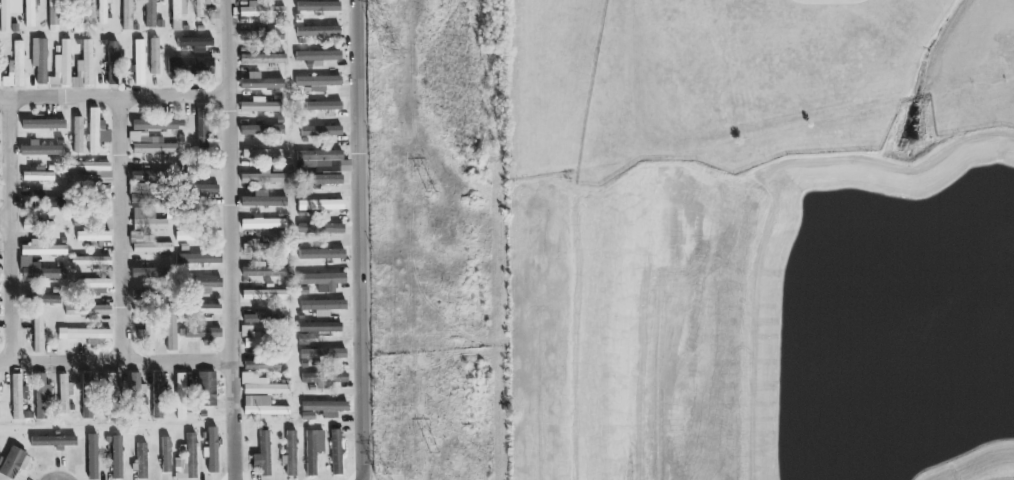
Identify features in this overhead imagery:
building: (318, 7)
building: (201, 8)
road: (829, 9)
building: (261, 10)
building: (103, 11)
building: (8, 12)
building: (30, 13)
building: (178, 13)
building: (79, 14)
building: (127, 15)
building: (53, 16)
building: (152, 16)
building: (318, 32)
building: (261, 35)
building: (196, 44)
power tower: (393, 53)
building: (154, 56)
building: (317, 57)
building: (40, 59)
building: (263, 59)
building: (139, 63)
building: (111, 64)
building: (190, 66)
building: (62, 67)
building: (15, 68)
building: (84, 68)
building: (260, 83)
building: (317, 83)
road: (116, 98)
building: (262, 105)
building: (323, 106)
building: (43, 124)
building: (155, 125)
building: (202, 128)
building: (262, 130)
building: (97, 131)
building: (321, 131)
building: (78, 135)
building: (156, 147)
building: (40, 149)
building: (262, 153)
building: (323, 161)
building: (91, 170)
building: (37, 175)
building: (147, 175)
building: (264, 178)
building: (325, 179)
building: (206, 189)
building: (144, 193)
building: (262, 200)
building: (320, 204)
building: (211, 212)
road: (5, 219)
building: (146, 219)
building: (263, 223)
building: (38, 225)
road: (124, 229)
building: (322, 230)
road: (11, 231)
building: (93, 236)
building: (186, 236)
road: (233, 240)
road: (361, 240)
building: (152, 247)
building: (254, 247)
building: (42, 248)
building: (322, 254)
building: (196, 258)
building: (90, 261)
building: (265, 269)
building: (41, 272)
building: (148, 272)
building: (322, 281)
building: (93, 285)
building: (204, 285)
building: (264, 294)
building: (49, 299)
building: (322, 306)
building: (205, 308)
building: (87, 310)
building: (263, 317)
building: (319, 327)
building: (170, 328)
building: (37, 332)
building: (203, 333)
building: (85, 335)
building: (250, 338)
building: (303, 339)
building: (323, 353)
road: (116, 361)
building: (262, 365)
building: (324, 379)
building: (88, 380)
building: (135, 382)
building: (261, 385)
building: (207, 389)
building: (64, 393)
building: (40, 395)
building: (111, 395)
building: (157, 395)
building: (18, 396)
building: (181, 396)
building: (262, 406)
building: (322, 409)
building: (52, 441)
building: (212, 450)
building: (313, 450)
building: (336, 452)
building: (291, 453)
building: (91, 455)
building: (166, 455)
building: (262, 455)
building: (116, 457)
building: (187, 460)
building: (142, 461)
building: (13, 462)

